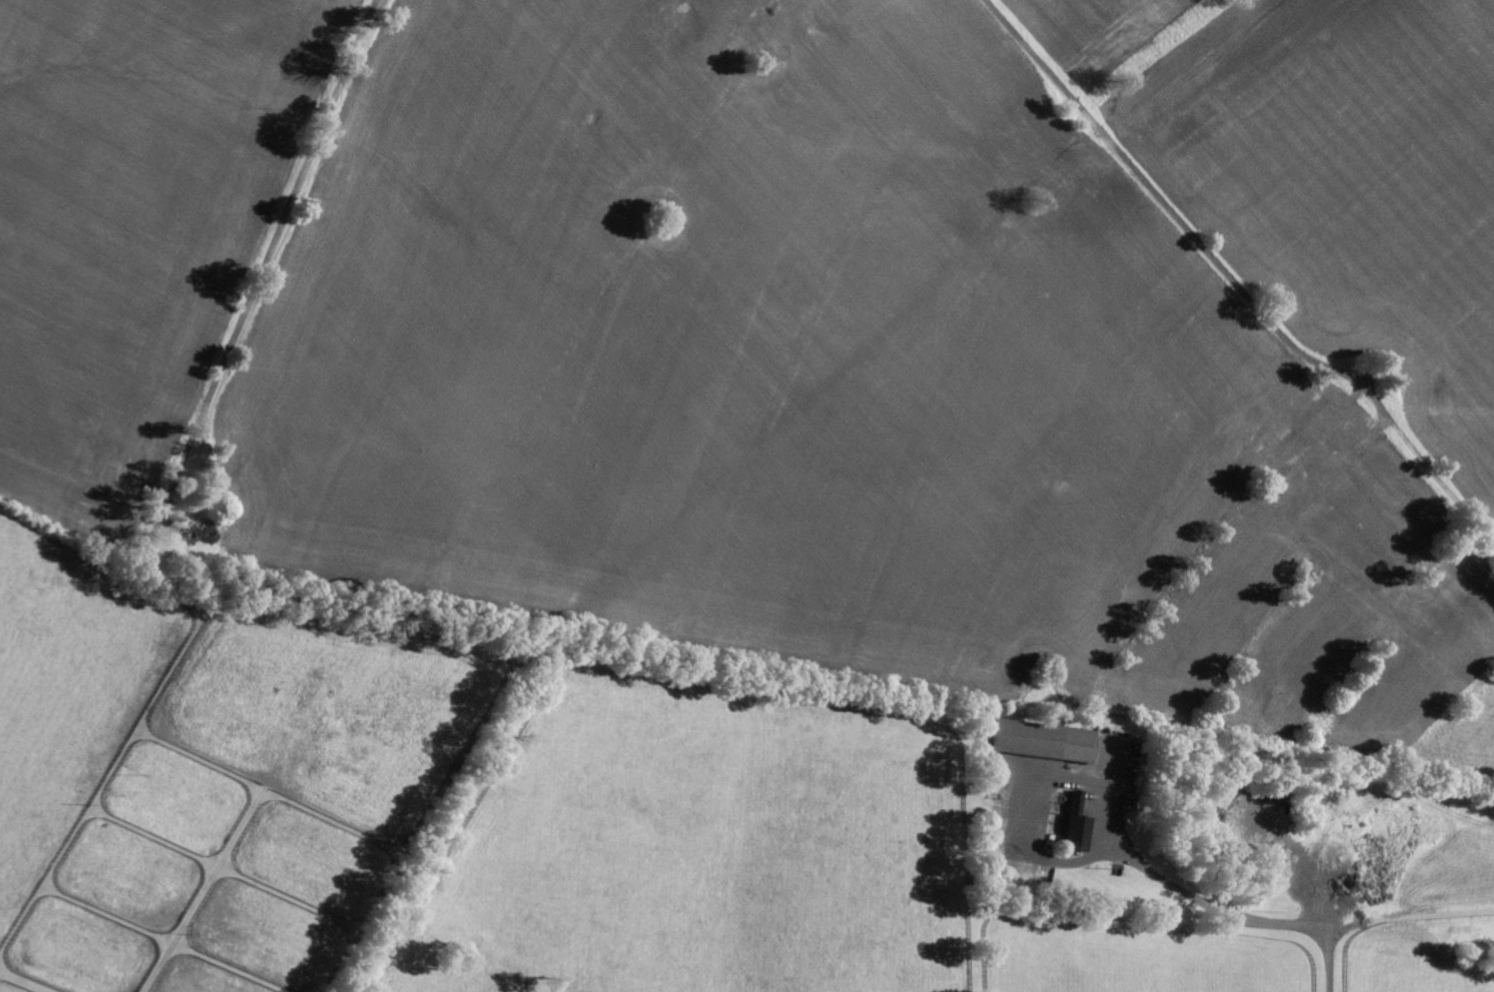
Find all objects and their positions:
road: (1178, 218)
road: (265, 267)
building: (1045, 741)
building: (1078, 825)
road: (1233, 915)

